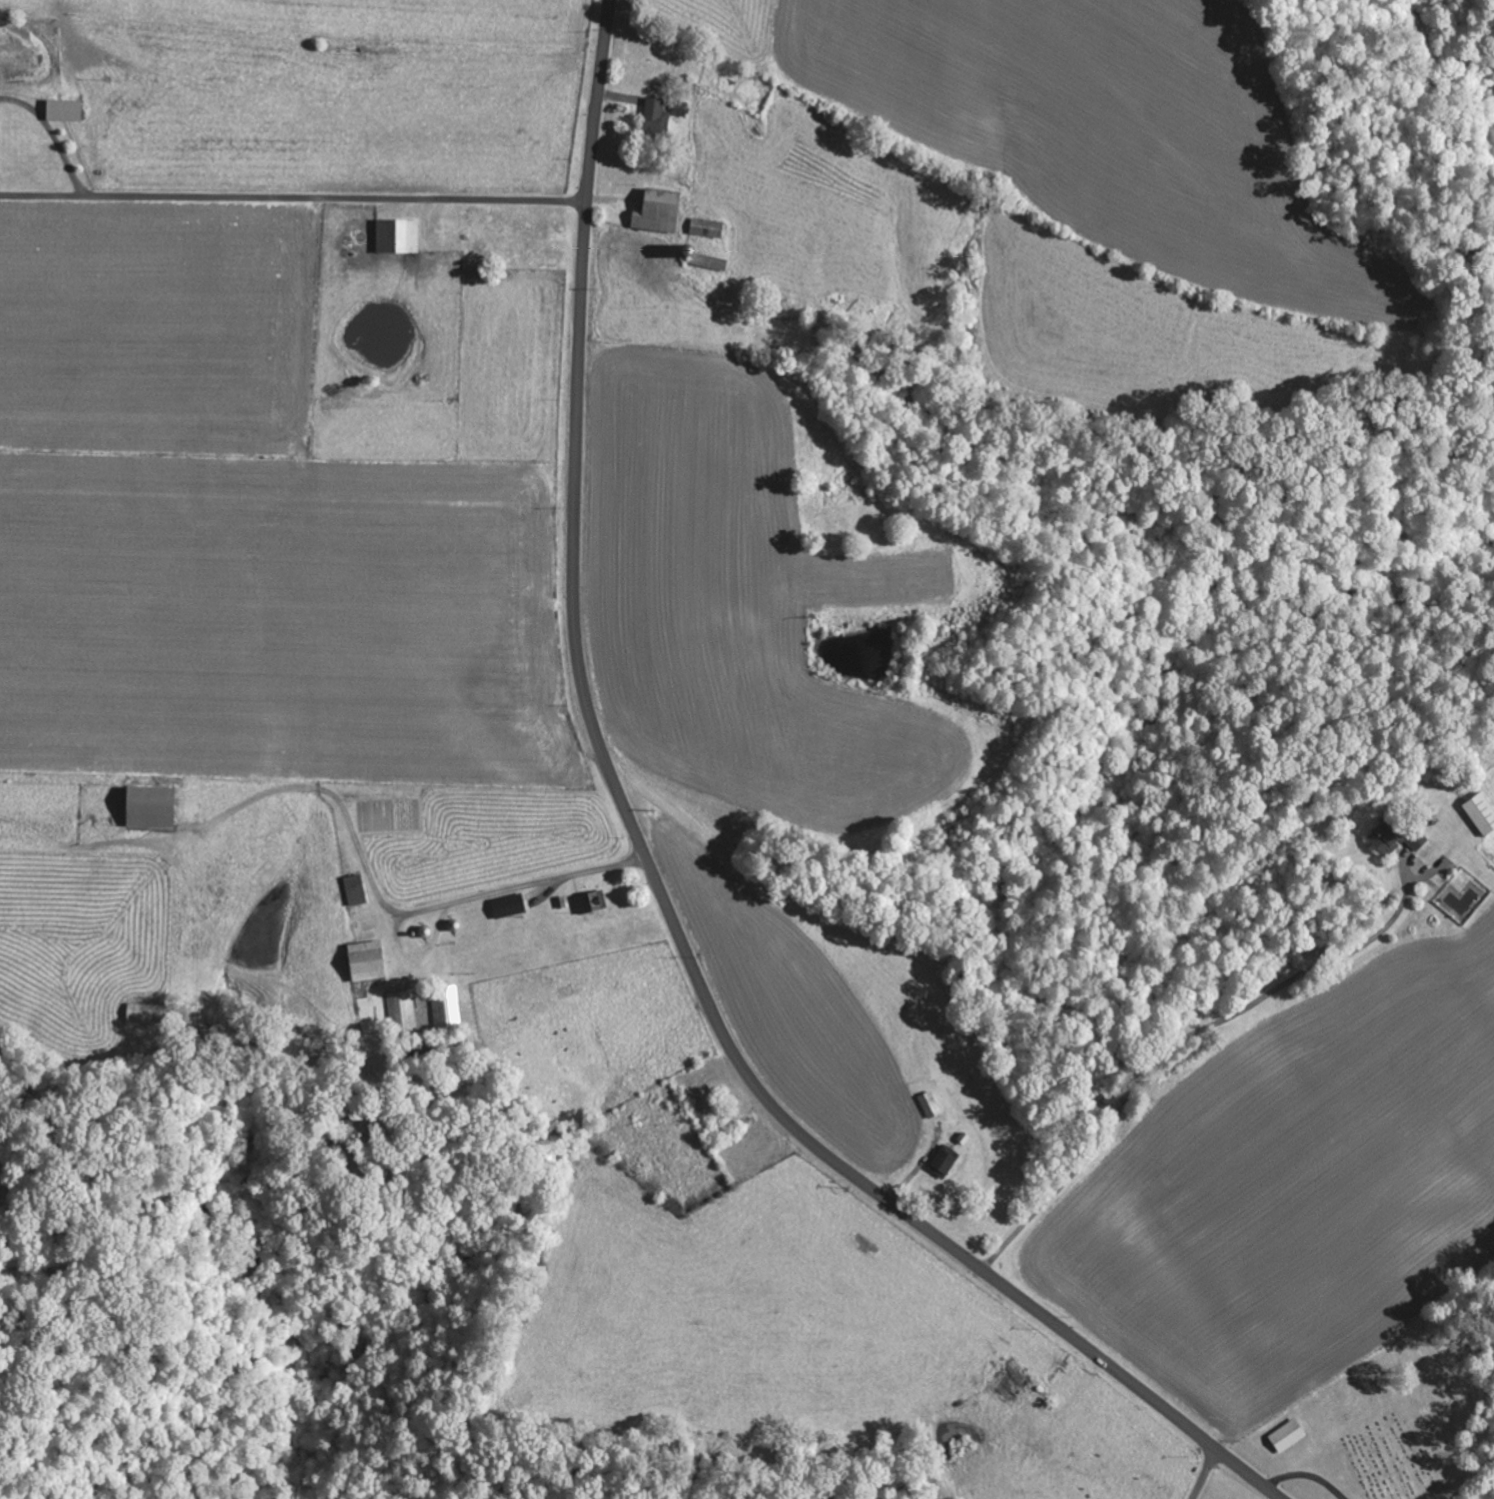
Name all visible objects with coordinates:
building: (677, 109)
building: (60, 111)
building: (651, 118)
building: (652, 212)
building: (703, 228)
building: (393, 237)
building: (708, 263)
building: (144, 806)
building: (1478, 814)
building: (1393, 838)
road: (654, 880)
building: (588, 901)
building: (505, 906)
building: (361, 961)
building: (397, 1006)
building: (139, 1013)
building: (926, 1105)
building: (940, 1161)
road: (1204, 1301)
building: (1004, 1384)
building: (1284, 1436)
road: (1204, 1474)

